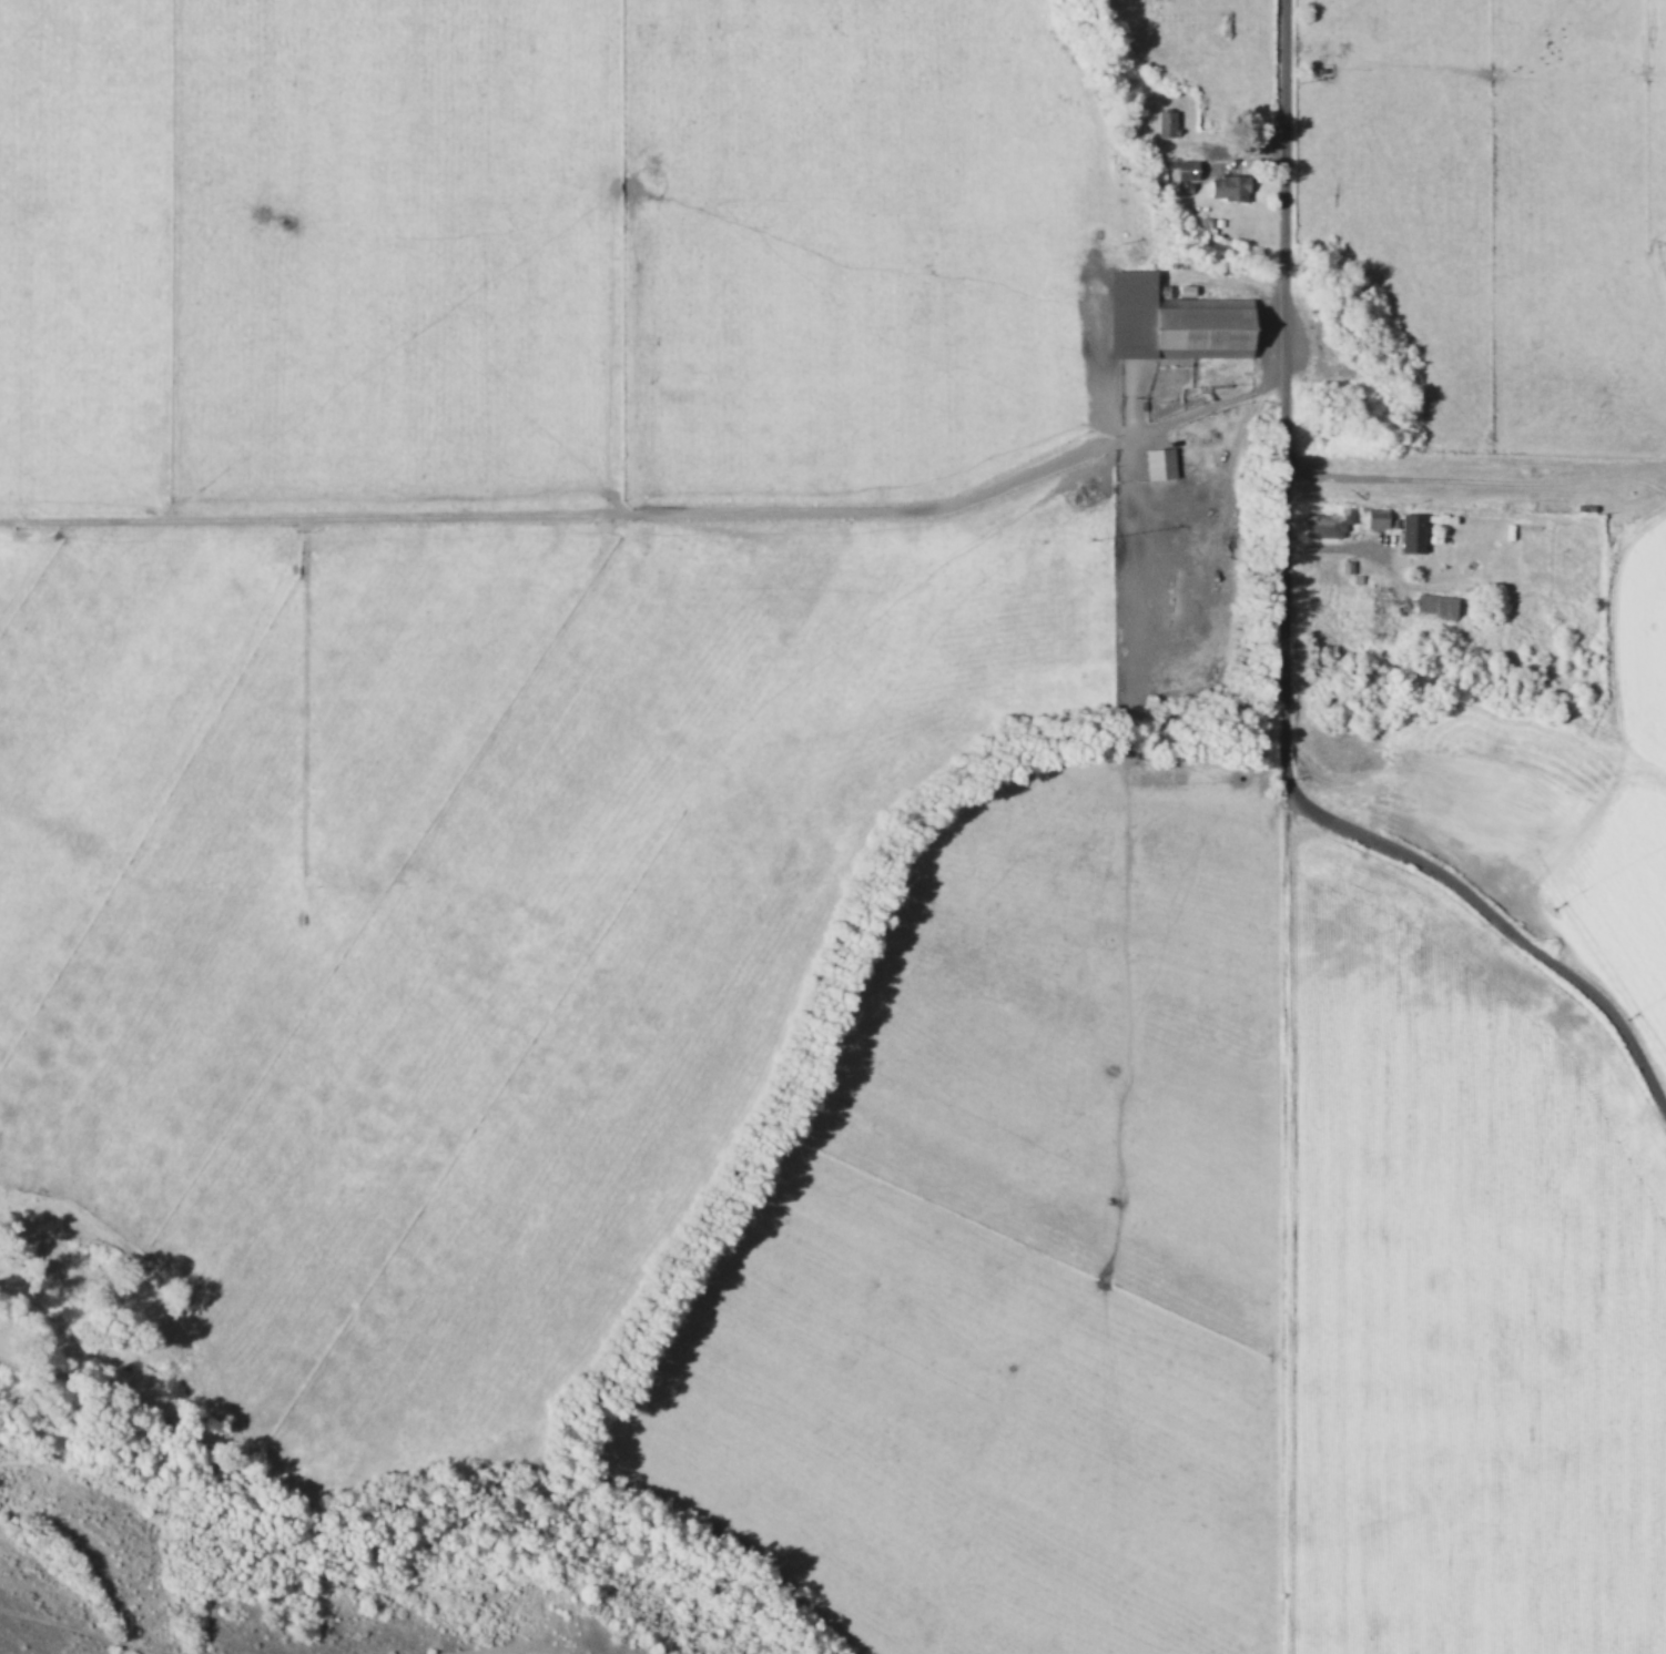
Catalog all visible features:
building: (1165, 123)
building: (1186, 170)
building: (1228, 187)
building: (1171, 322)
building: (1159, 464)
road: (1475, 477)
building: (1375, 517)
building: (1325, 522)
building: (1411, 532)
building: (1435, 605)
road: (1286, 646)
river: (139, 1564)

